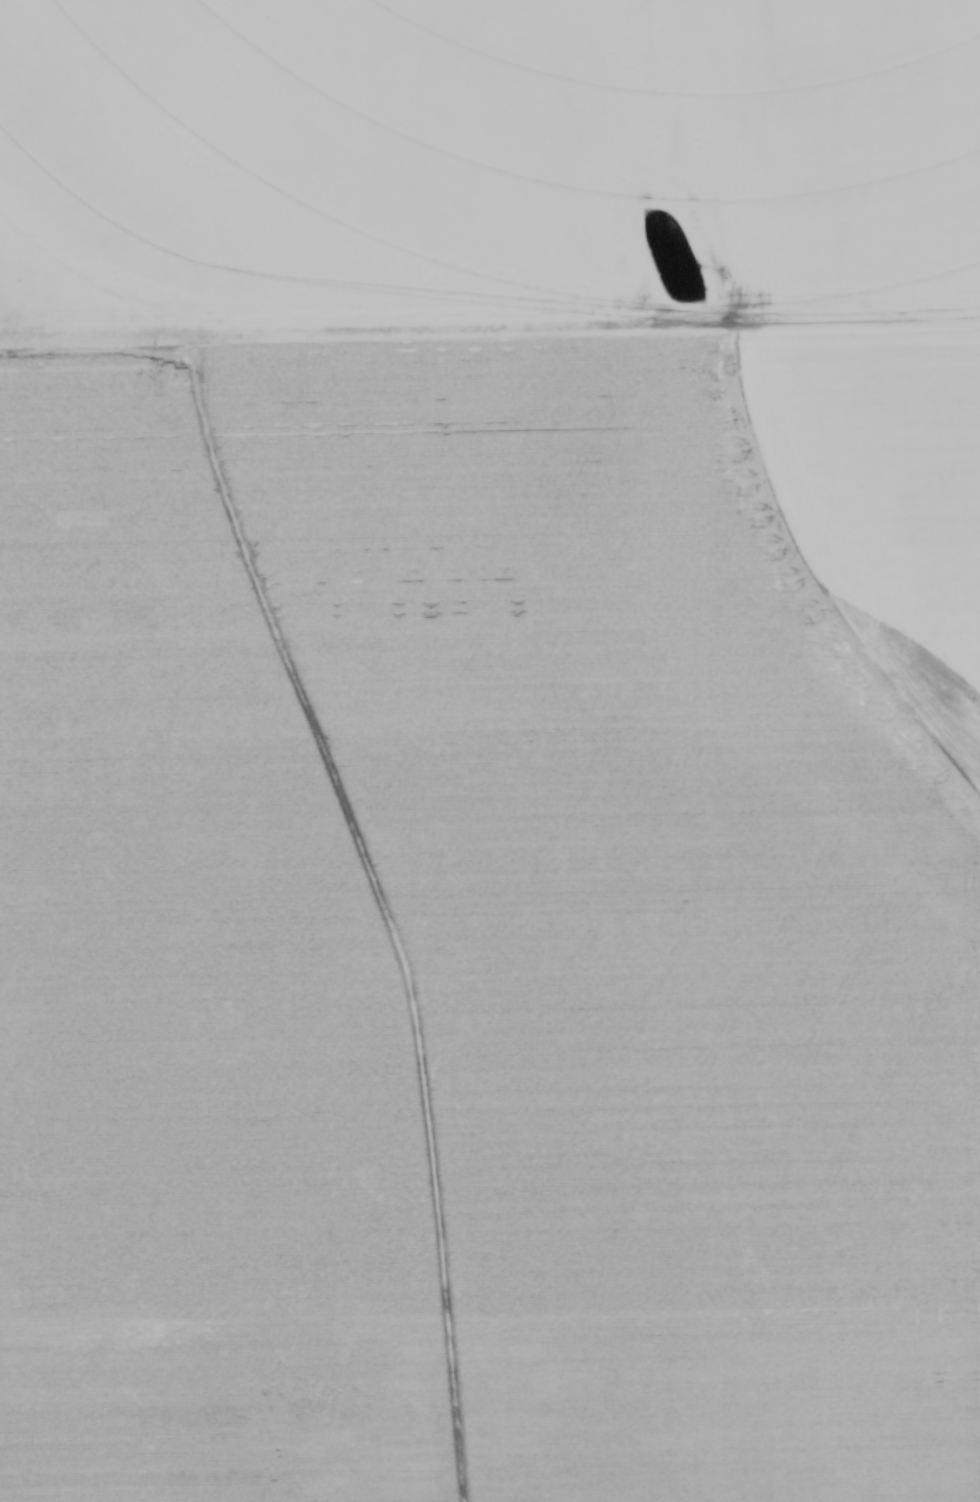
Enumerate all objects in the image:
crop: (490, 751)

